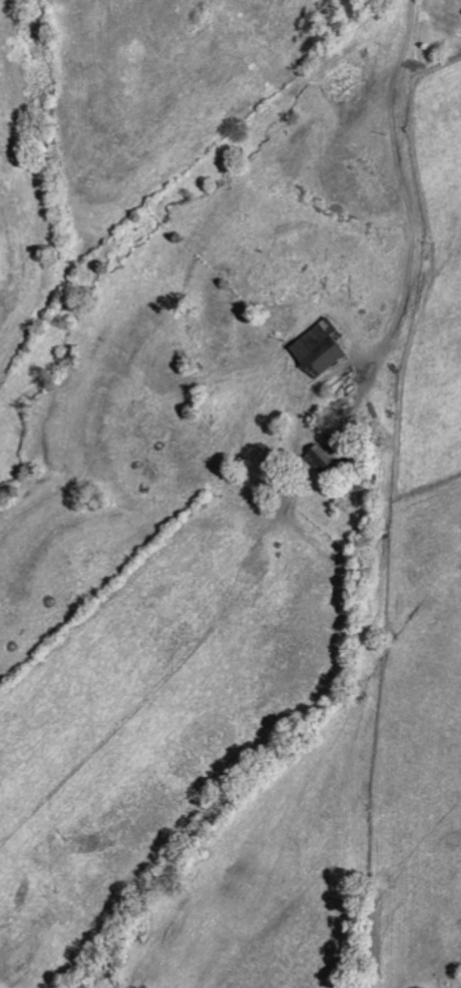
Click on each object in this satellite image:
road: (401, 177)
building: (317, 347)
building: (316, 458)

